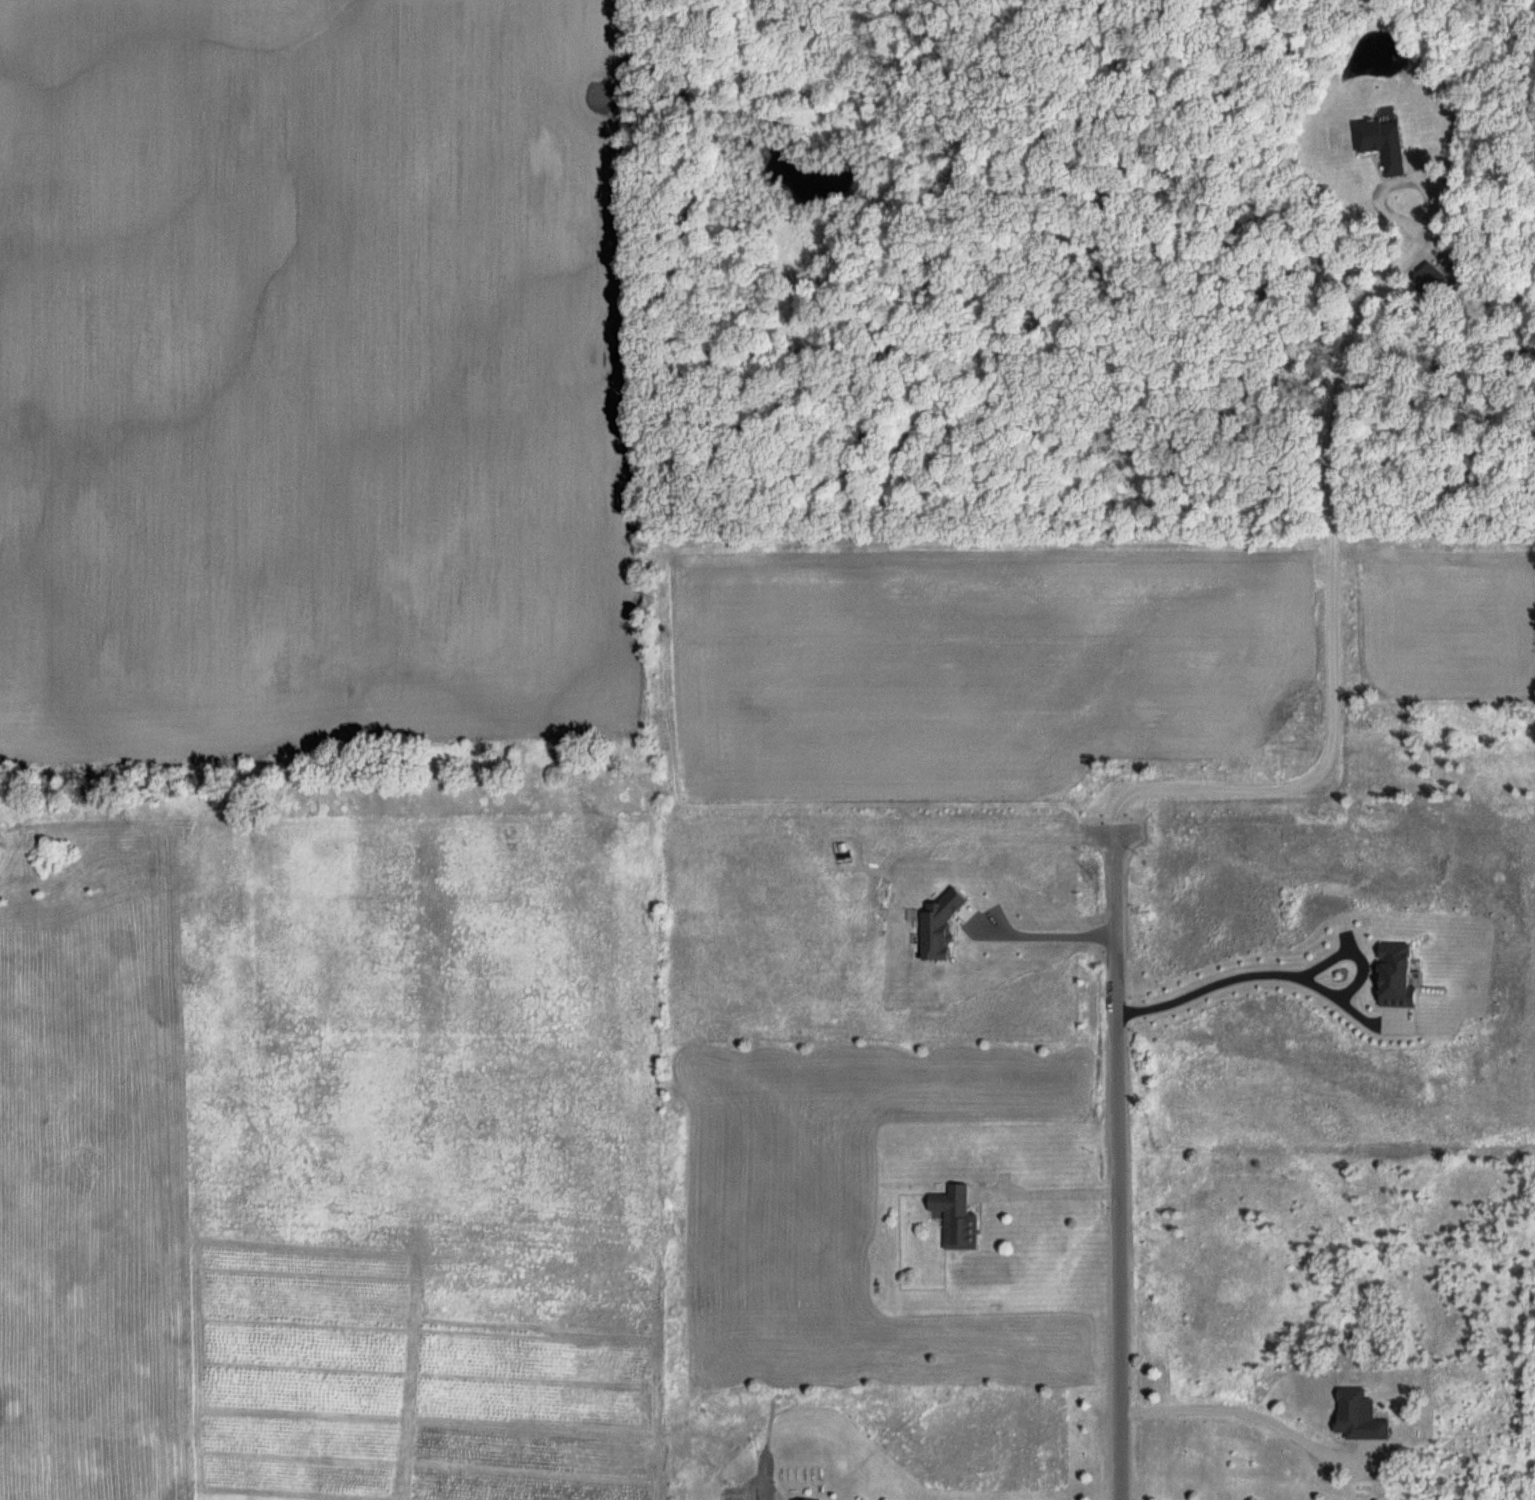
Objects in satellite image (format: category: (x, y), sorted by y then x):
building: (1382, 143)
crop: (317, 372)
road: (1335, 572)
road: (1117, 1162)
road: (1046, 1192)
building: (957, 1218)
road: (1253, 1411)
building: (1360, 1416)

